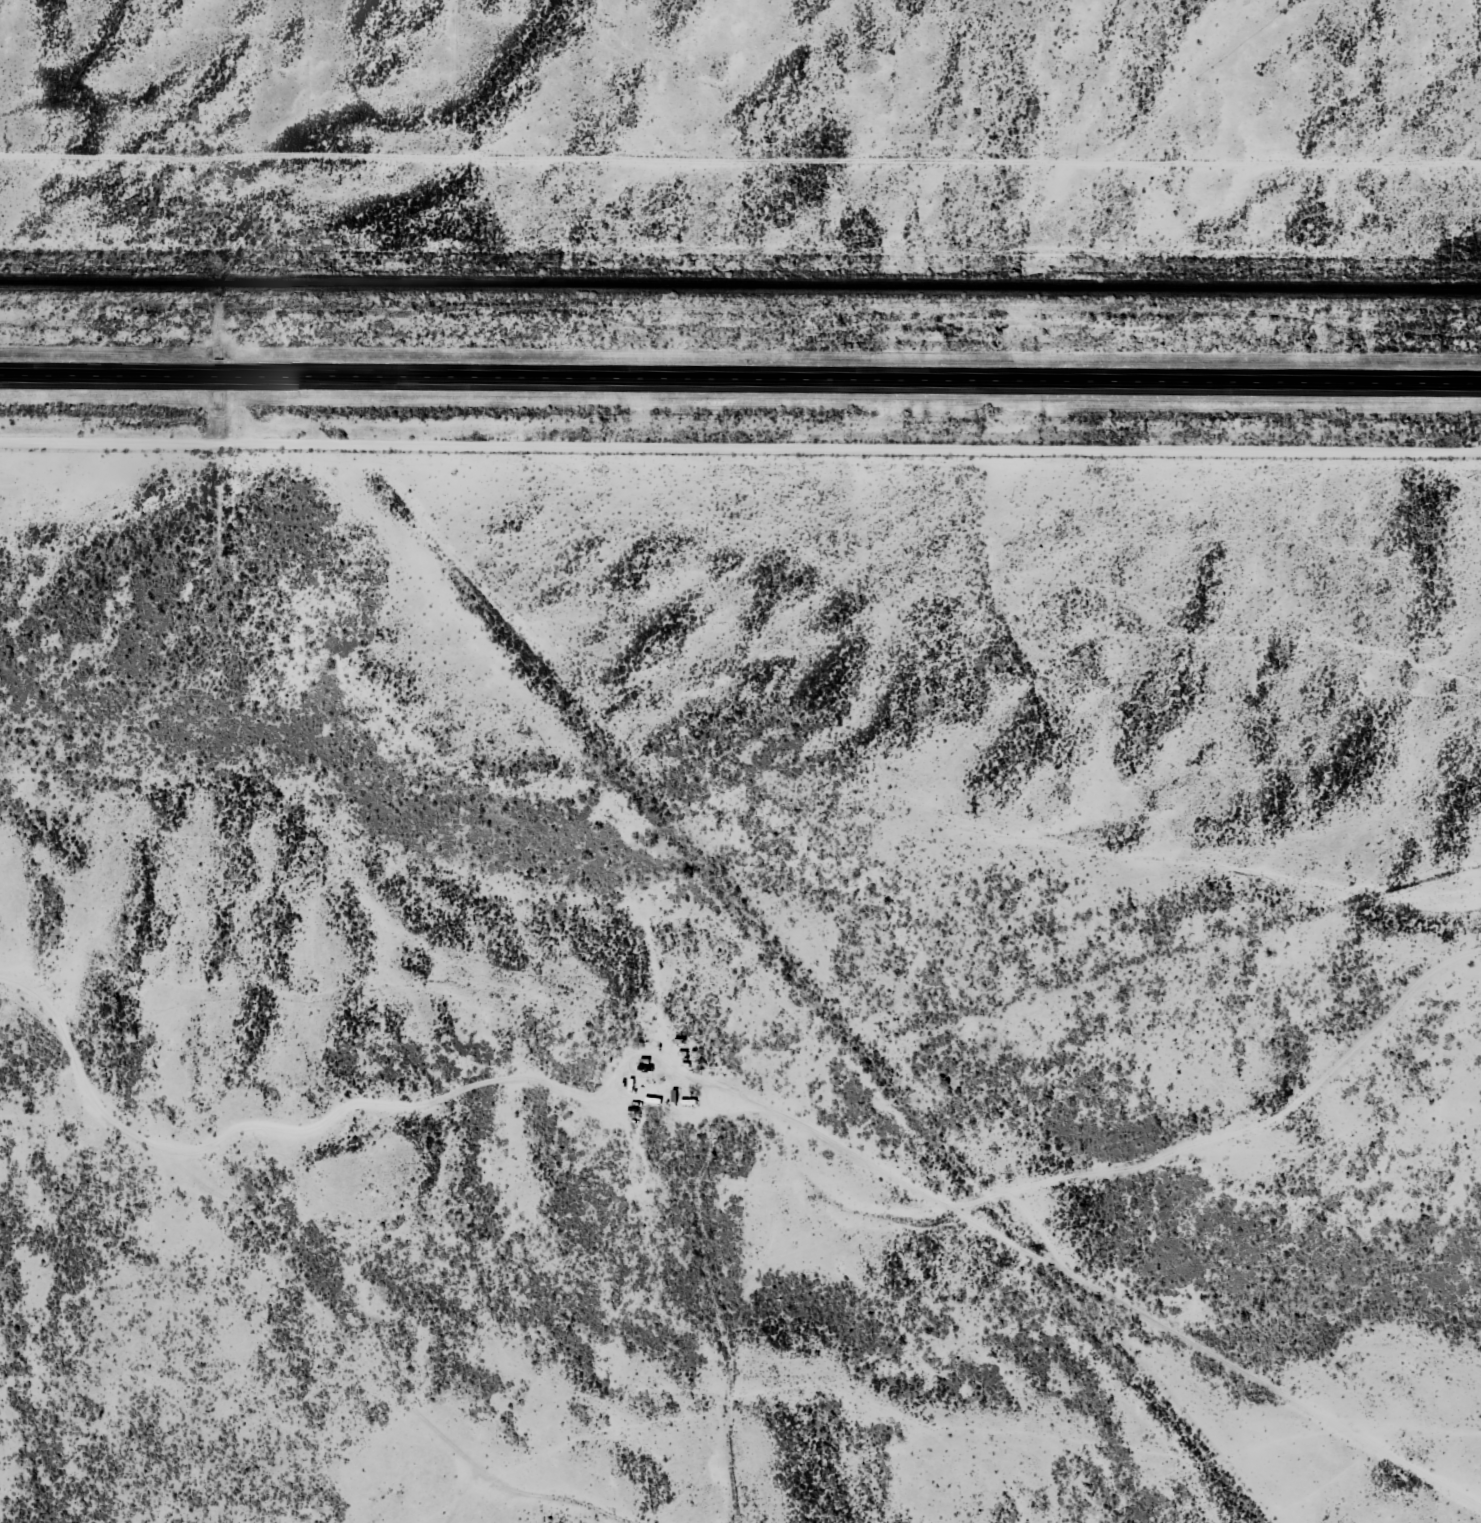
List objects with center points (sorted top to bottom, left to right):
railway: (740, 286)
road: (740, 376)

